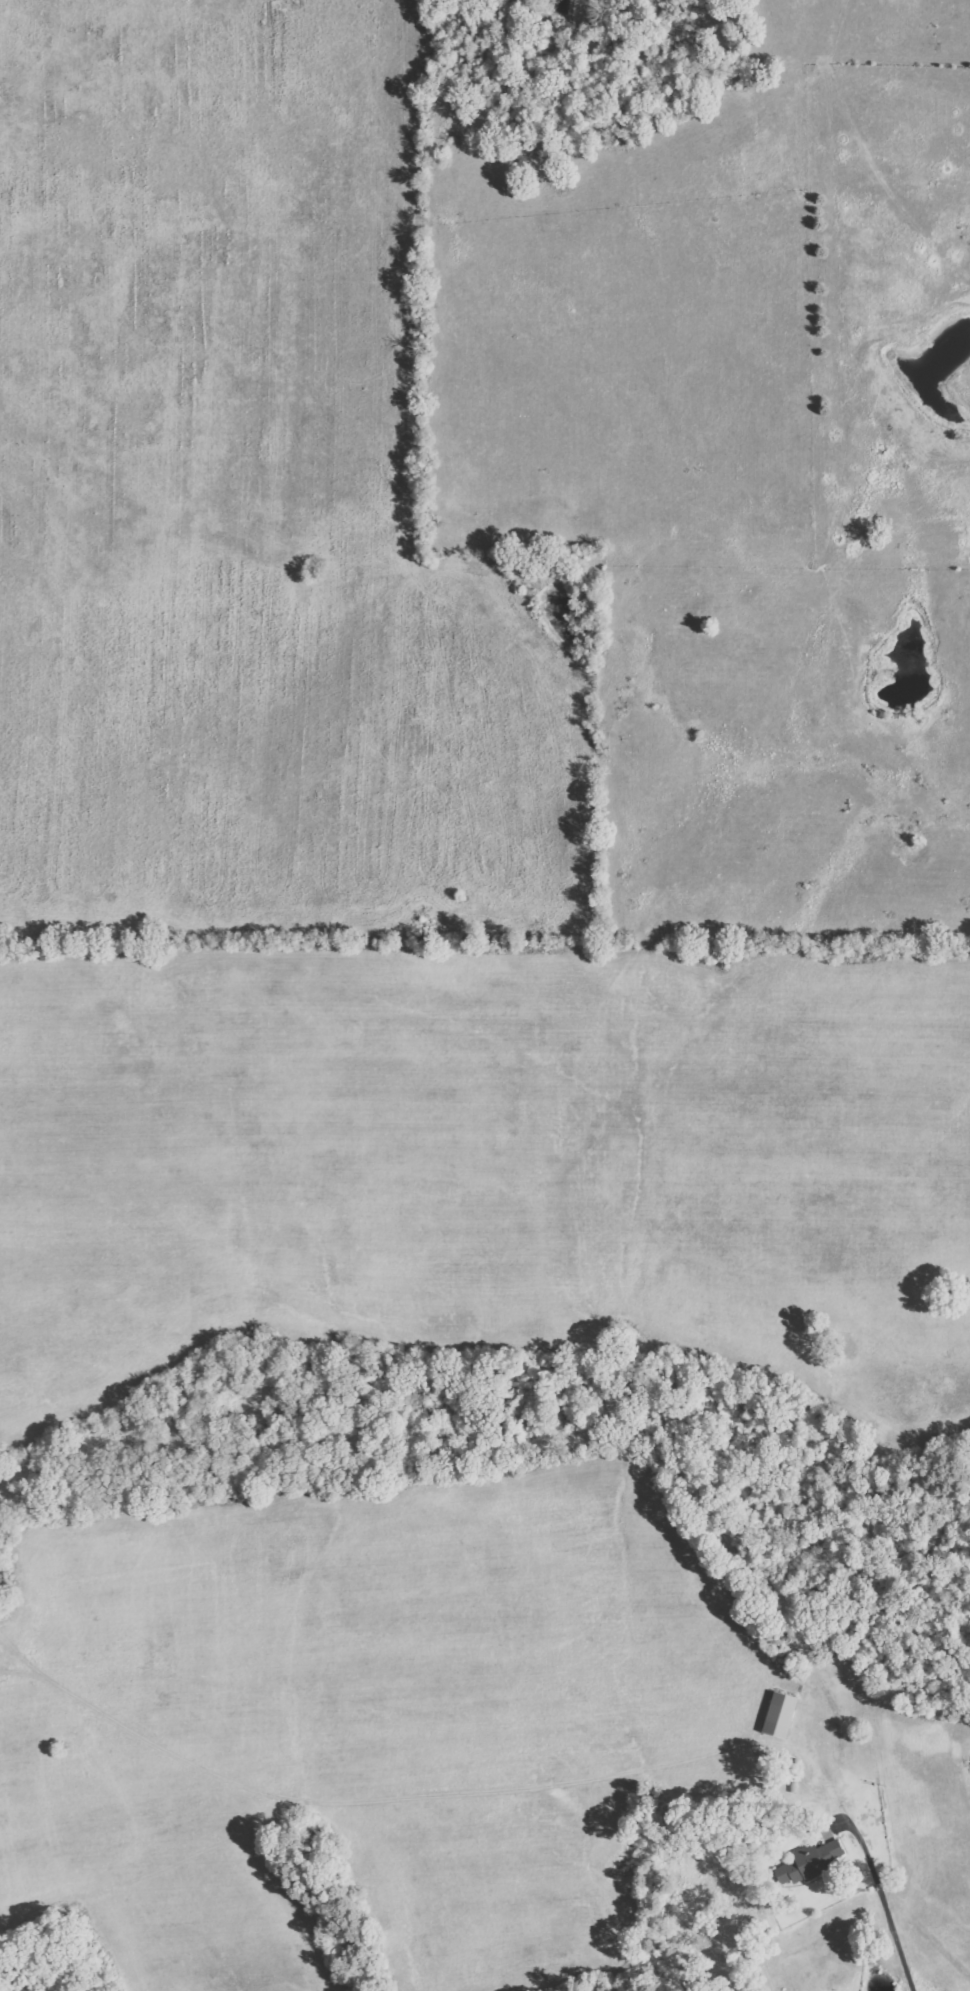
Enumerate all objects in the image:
building: (781, 1714)
building: (812, 1862)
road: (886, 1915)

